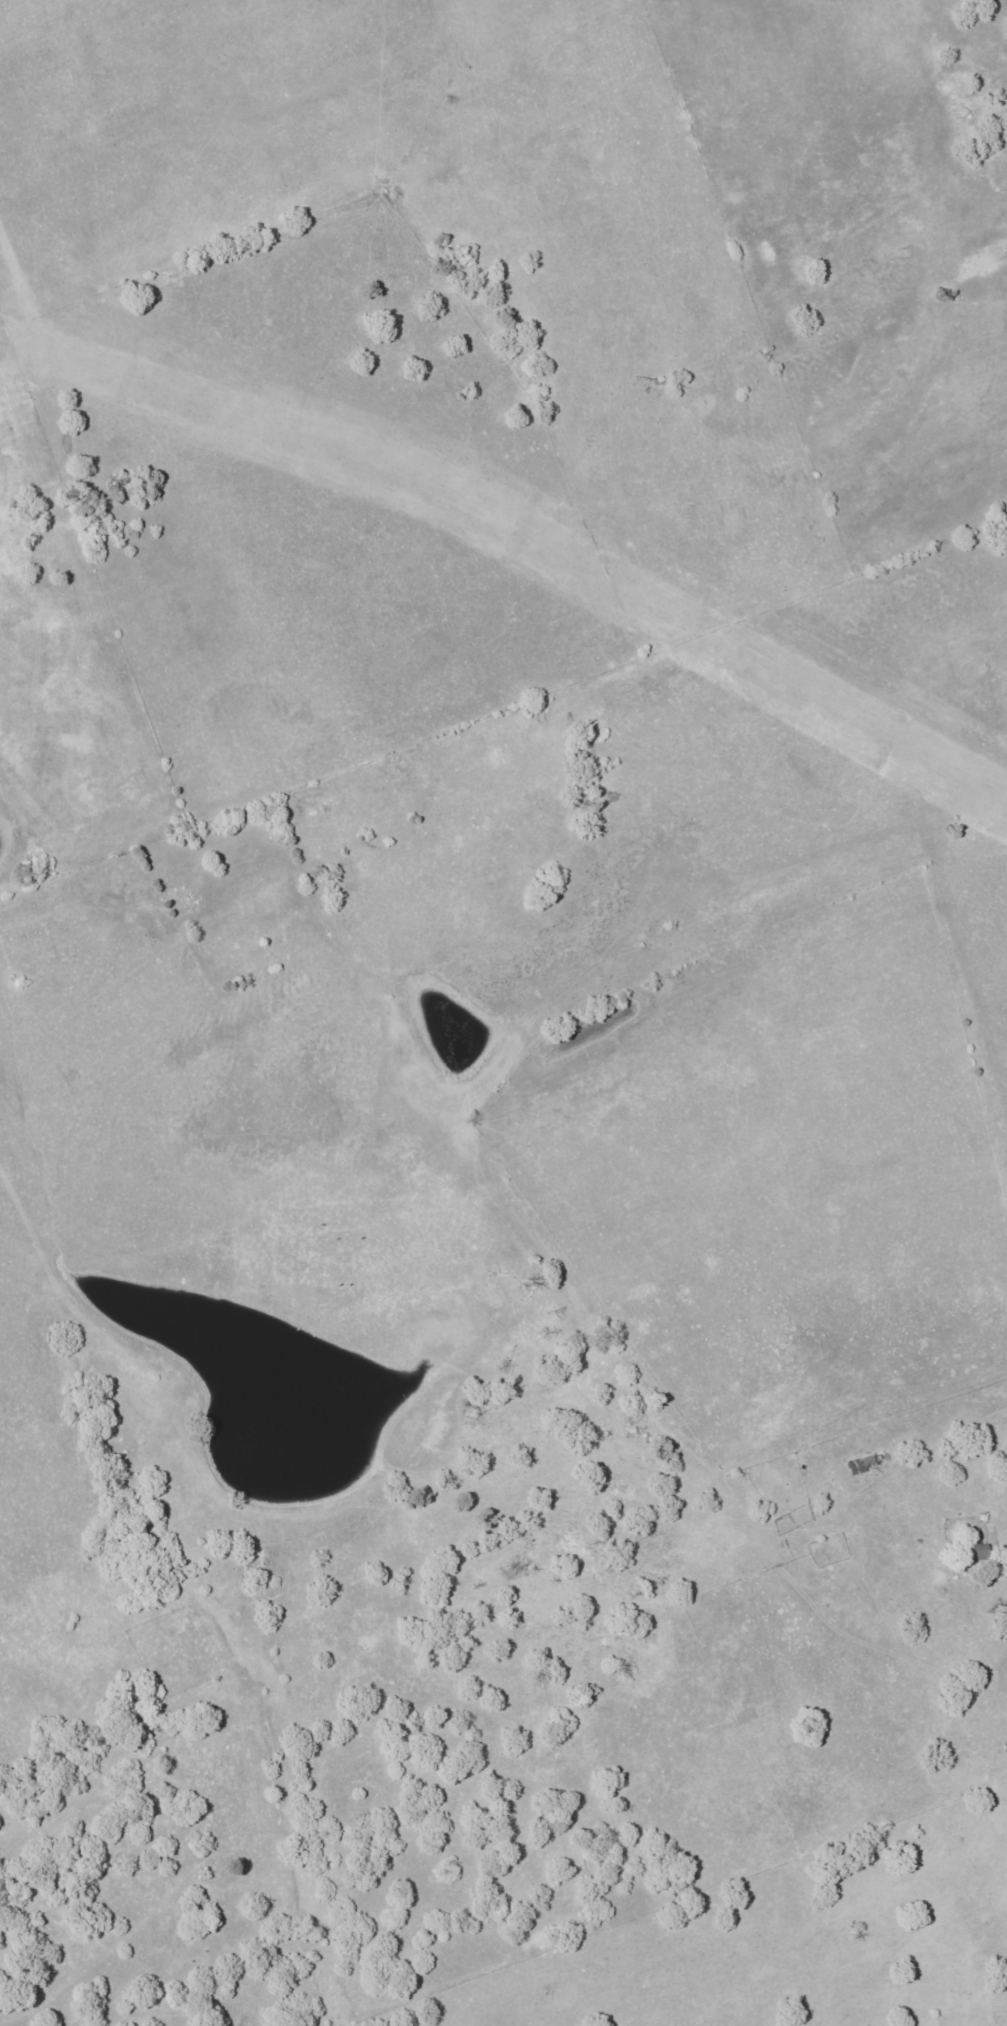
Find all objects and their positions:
park: (537, 710)
park: (537, 896)

